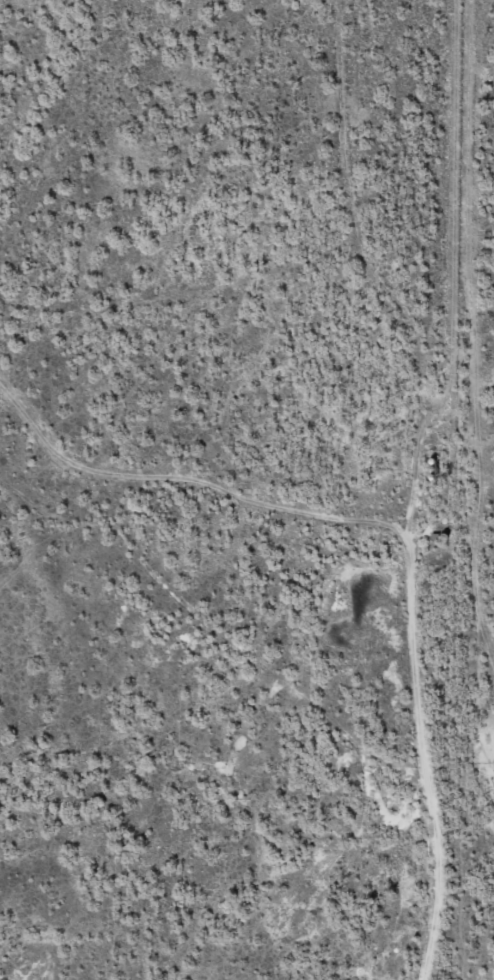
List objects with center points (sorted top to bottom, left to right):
road: (441, 482)
road: (275, 642)

